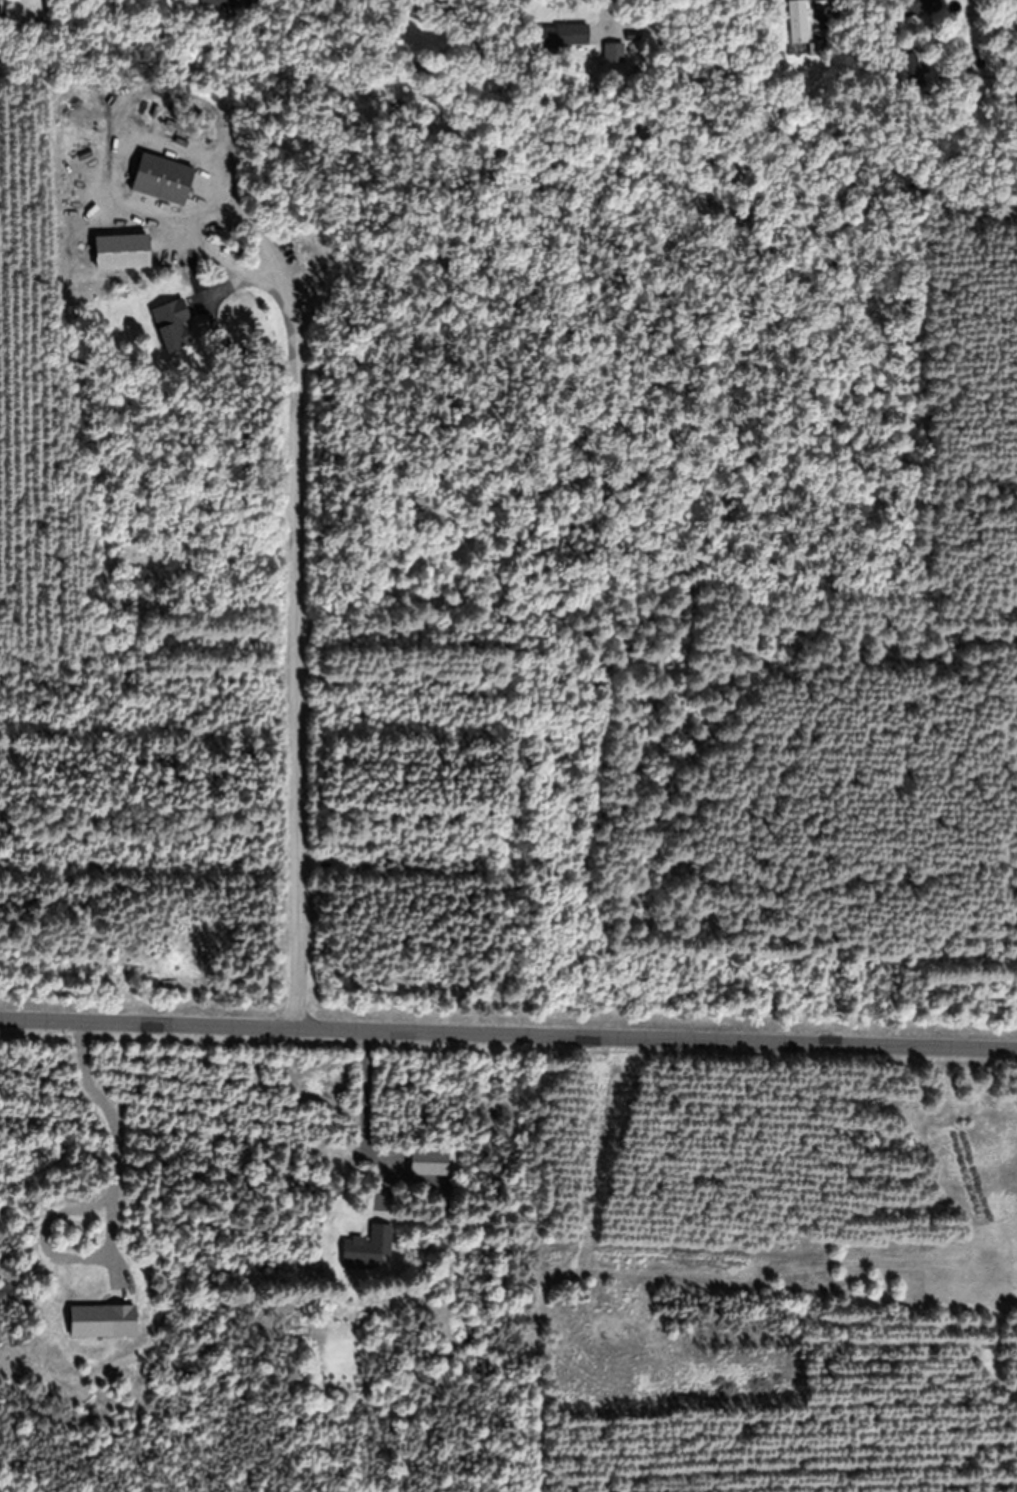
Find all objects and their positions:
building: (230, 3)
building: (923, 6)
building: (796, 22)
building: (564, 35)
building: (613, 54)
building: (910, 70)
building: (161, 179)
building: (171, 326)
road: (508, 1021)
building: (430, 1161)

